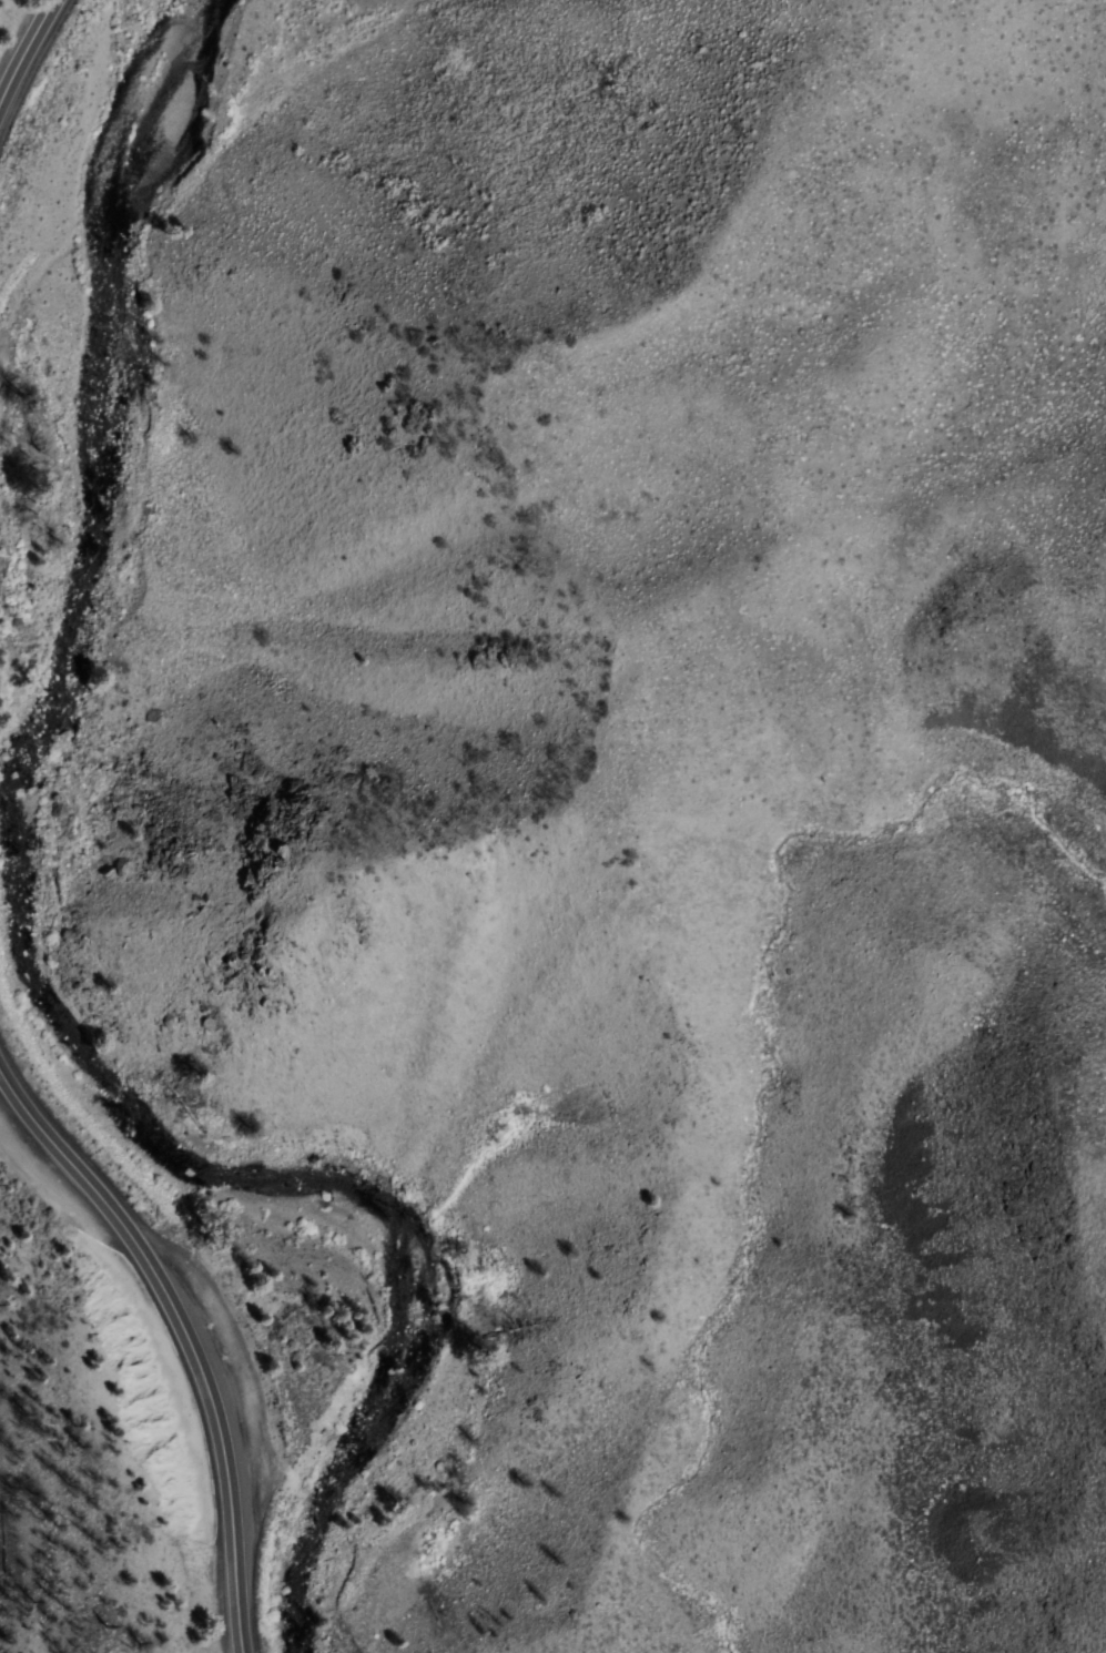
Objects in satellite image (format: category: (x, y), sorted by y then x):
road: (23, 44)
river: (20, 941)
road: (185, 1339)
parking lot: (222, 1378)

